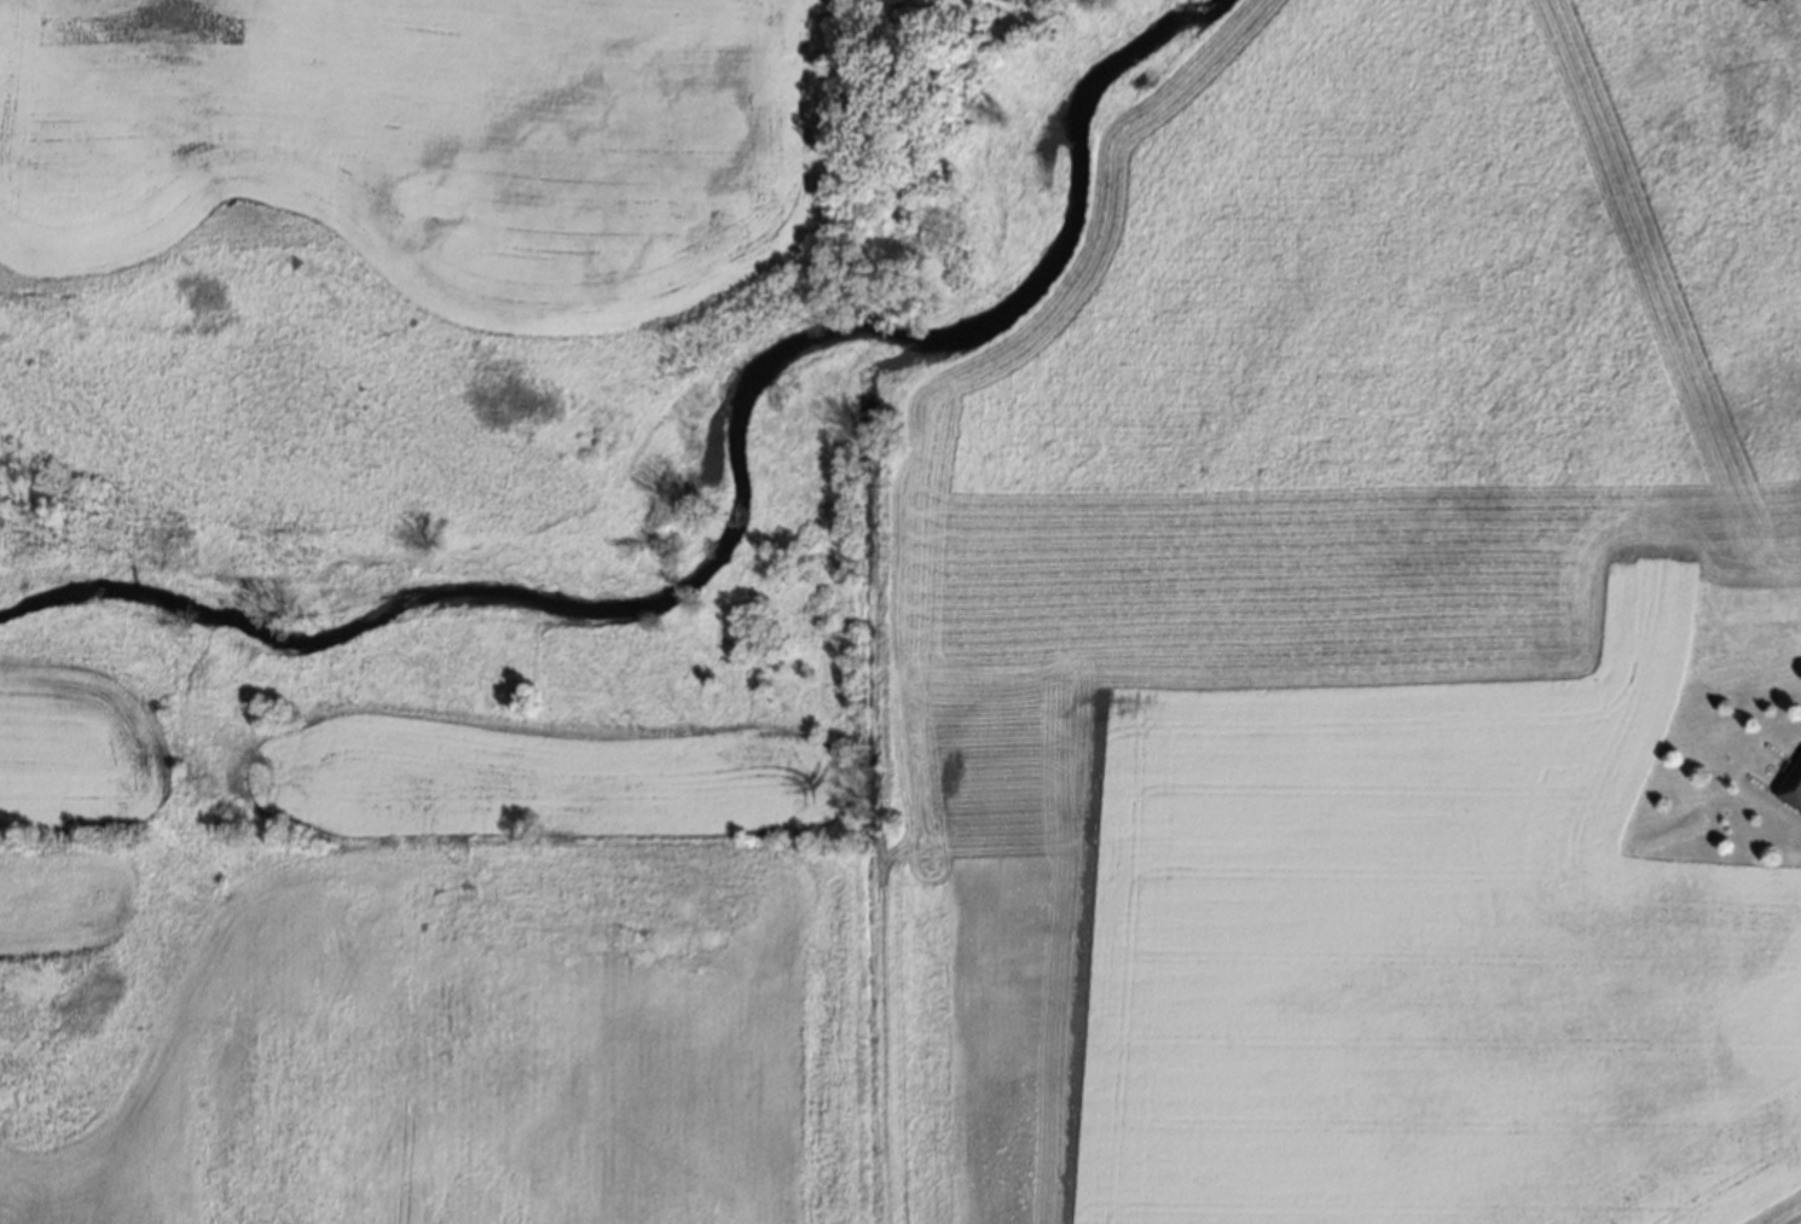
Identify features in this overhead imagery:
river: (1044, 192)
river: (500, 614)
building: (1793, 784)

